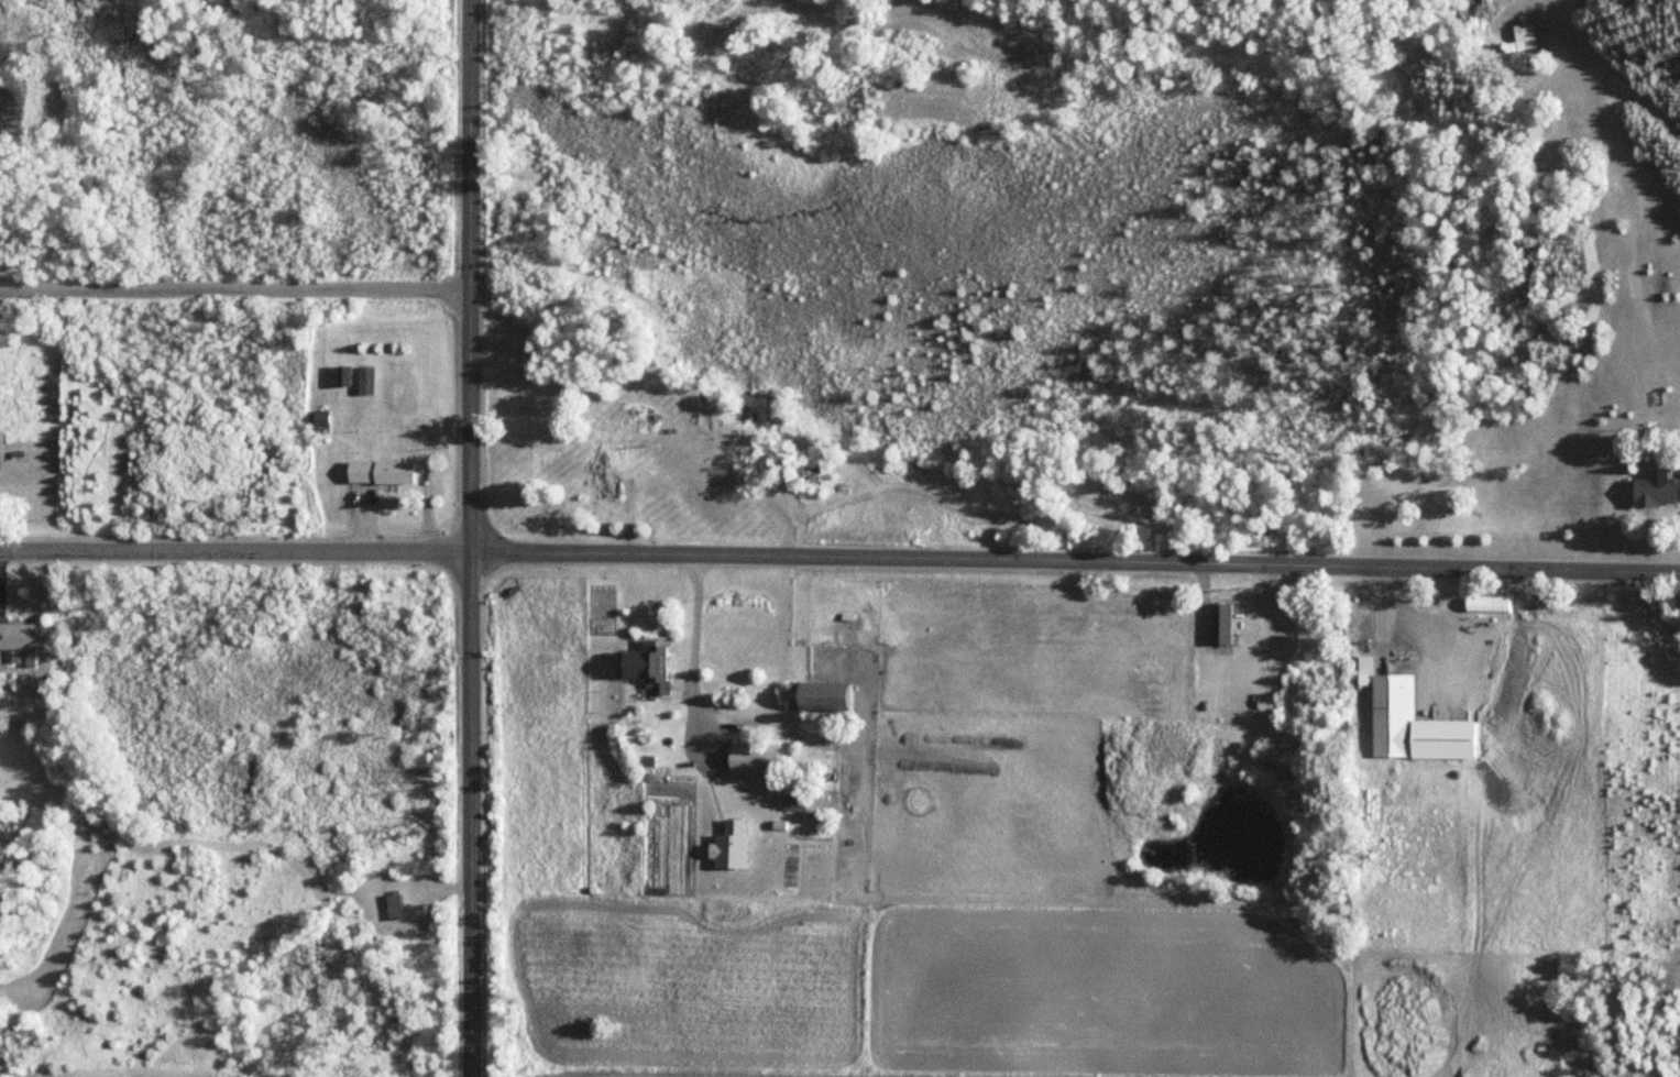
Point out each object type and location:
building: (1522, 37)
road: (234, 290)
building: (343, 374)
building: (320, 418)
building: (381, 471)
building: (605, 487)
building: (1657, 491)
road: (471, 538)
road: (235, 552)
road: (1076, 561)
building: (1489, 603)
building: (1222, 620)
building: (23, 636)
road: (1231, 646)
building: (652, 666)
building: (820, 695)
building: (1393, 712)
building: (750, 758)
building: (704, 783)
building: (396, 905)

